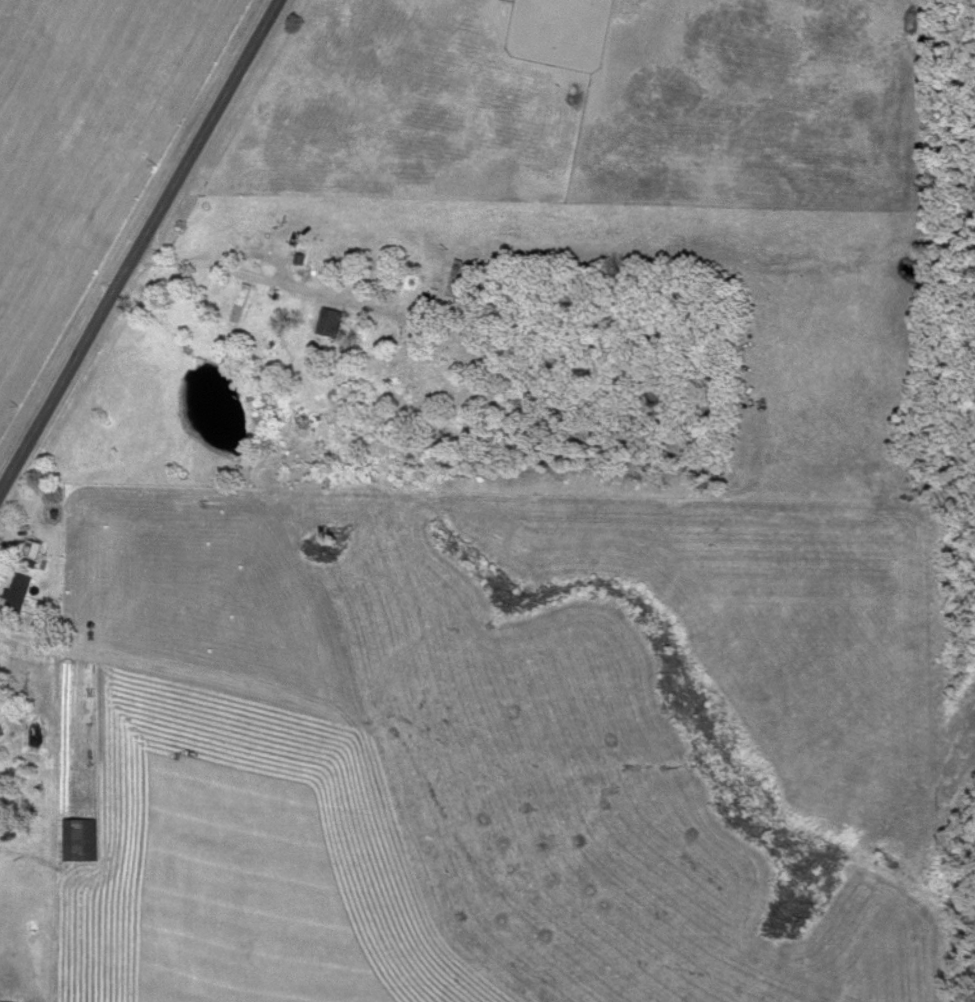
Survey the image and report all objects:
road: (139, 247)
road: (252, 252)
building: (454, 281)
building: (326, 324)
building: (30, 551)
building: (15, 595)
road: (42, 648)
building: (7, 832)
building: (79, 841)

